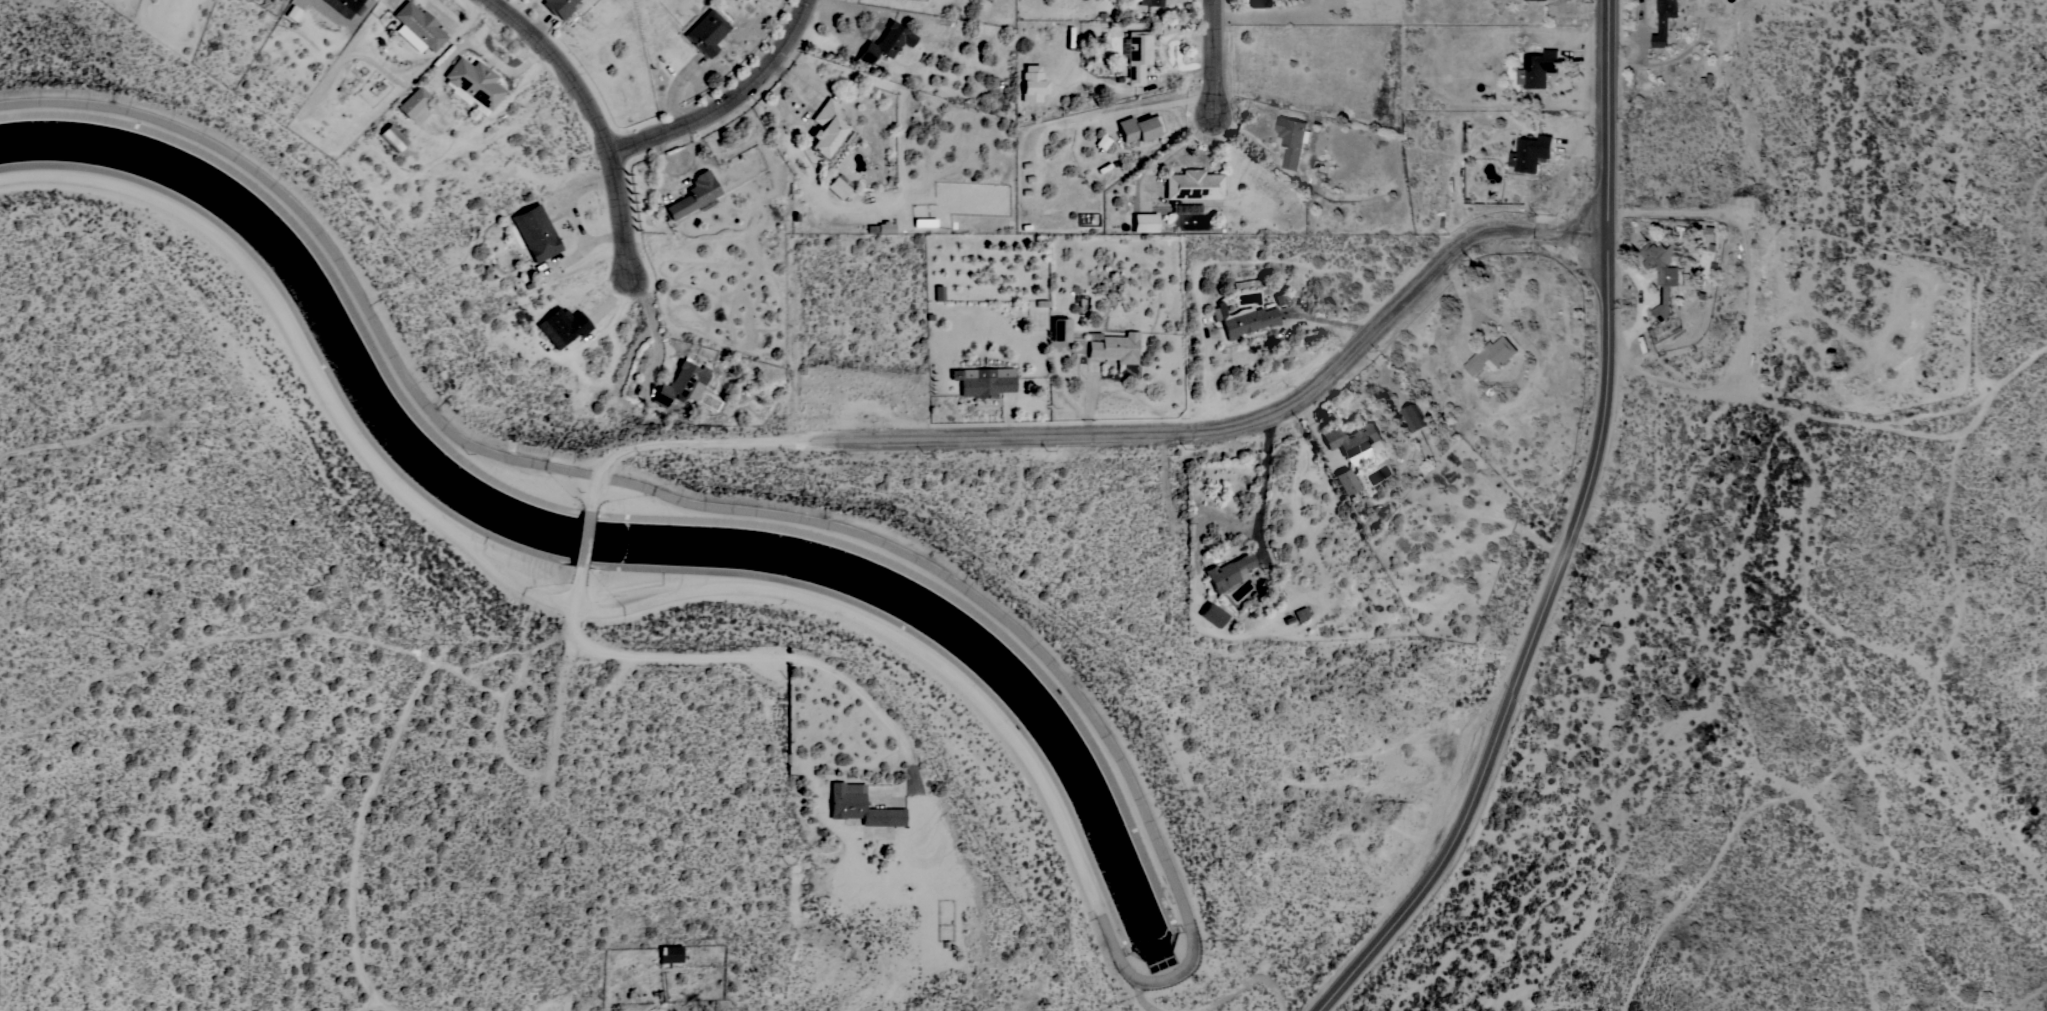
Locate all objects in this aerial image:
building: (1151, 2)
building: (1260, 3)
building: (343, 6)
building: (558, 7)
building: (1664, 21)
building: (418, 25)
building: (706, 32)
road: (1644, 32)
building: (885, 42)
road: (850, 43)
building: (1137, 55)
road: (1215, 56)
road: (1634, 58)
building: (1537, 69)
building: (1032, 83)
building: (473, 84)
road: (730, 100)
building: (413, 102)
road: (1165, 105)
road: (598, 120)
building: (1139, 127)
building: (827, 130)
building: (392, 137)
building: (1293, 140)
road: (1166, 152)
building: (1530, 152)
building: (1192, 185)
building: (838, 186)
building: (693, 195)
road: (571, 217)
building: (923, 222)
building: (1144, 222)
building: (885, 227)
building: (535, 233)
building: (1710, 234)
building: (1761, 249)
building: (1762, 267)
building: (1662, 272)
building: (938, 293)
road: (1646, 303)
building: (1246, 319)
road: (1326, 321)
building: (561, 326)
building: (1061, 330)
road: (654, 331)
building: (1114, 348)
building: (1493, 354)
building: (983, 381)
building: (681, 383)
road: (1256, 418)
building: (1414, 418)
road: (698, 442)
building: (1356, 442)
road: (1263, 480)
building: (1344, 481)
road: (1573, 538)
road: (581, 548)
building: (1228, 571)
building: (1300, 613)
building: (1212, 615)
road: (773, 657)
road: (437, 669)
building: (859, 806)
building: (669, 954)
road: (369, 1003)
road: (395, 1006)

